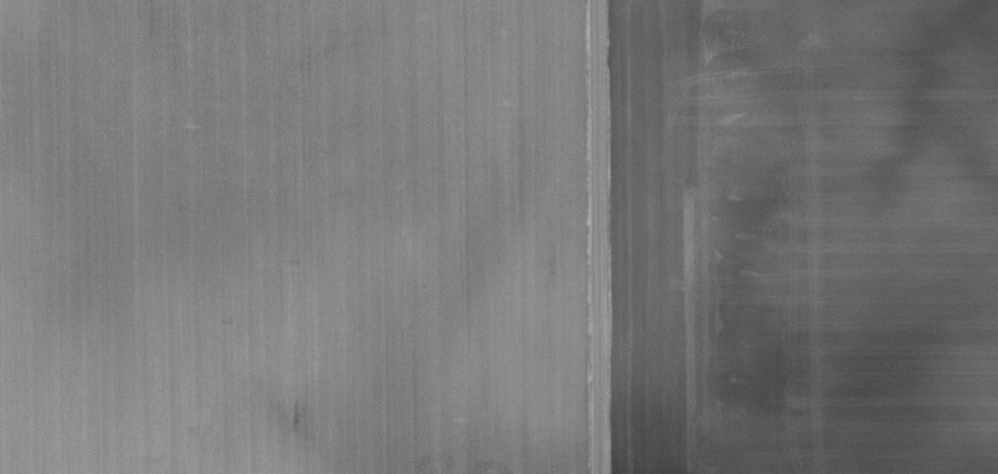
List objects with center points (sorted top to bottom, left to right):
road: (592, 237)

